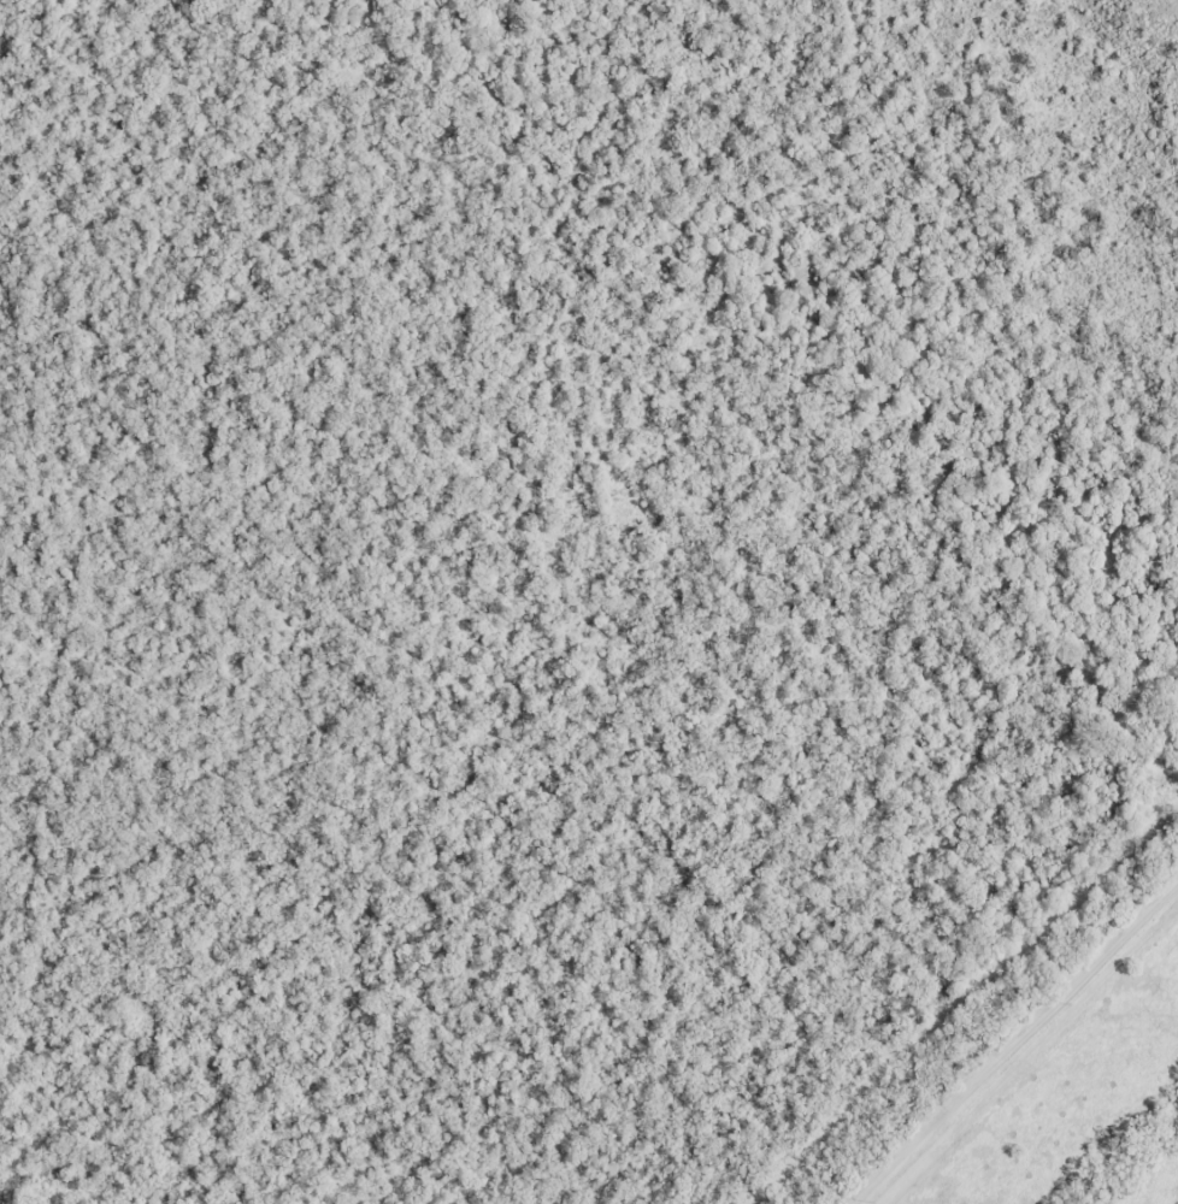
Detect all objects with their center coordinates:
road: (1014, 1039)
road: (1078, 1104)

